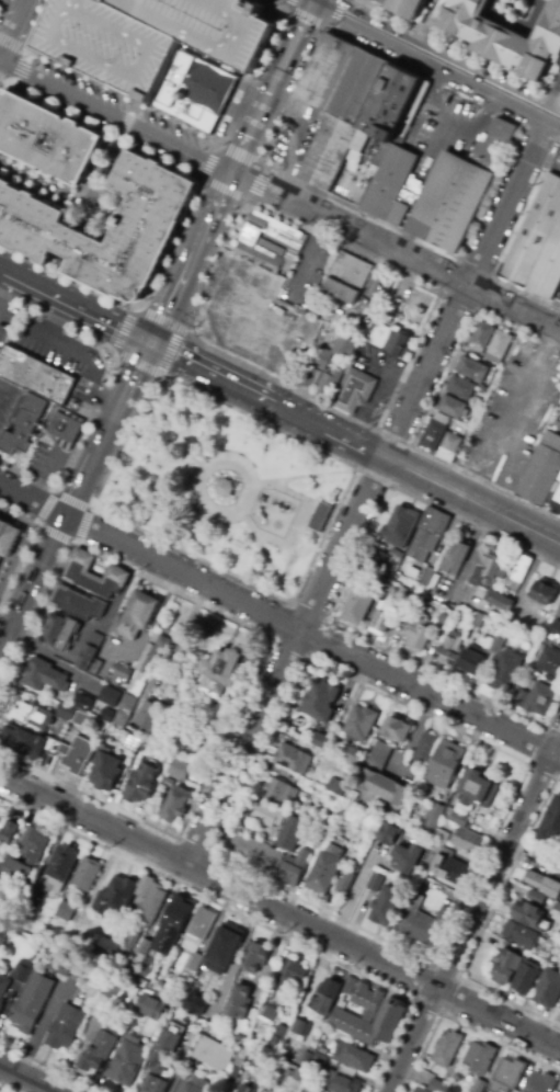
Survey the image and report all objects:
road: (0, 0)
traffic signals: (315, 0)
building: (380, 0)
building: (410, 7)
parking lot: (106, 14)
road: (315, 23)
road: (36, 24)
road: (13, 30)
building: (148, 35)
building: (510, 36)
road: (25, 50)
road: (431, 59)
road: (18, 60)
building: (169, 66)
building: (204, 81)
road: (272, 86)
road: (552, 100)
building: (350, 103)
road: (114, 116)
road: (126, 118)
parking lot: (444, 120)
road: (555, 121)
road: (515, 123)
road: (202, 134)
building: (46, 138)
building: (284, 146)
road: (217, 148)
road: (105, 163)
road: (39, 182)
building: (436, 187)
road: (186, 209)
building: (528, 226)
road: (103, 230)
building: (39, 231)
building: (268, 243)
road: (395, 251)
building: (544, 255)
road: (188, 257)
parking lot: (301, 271)
building: (345, 277)
road: (438, 292)
road: (75, 304)
parking lot: (340, 304)
road: (161, 320)
road: (124, 331)
building: (471, 331)
building: (379, 333)
building: (480, 337)
building: (491, 340)
traffic signals: (150, 341)
building: (345, 344)
road: (170, 352)
building: (321, 359)
building: (462, 363)
road: (137, 365)
building: (492, 372)
building: (37, 374)
building: (308, 376)
parking lot: (373, 379)
building: (345, 382)
building: (453, 383)
road: (102, 394)
building: (442, 402)
road: (182, 418)
building: (25, 425)
building: (66, 426)
building: (462, 428)
road: (107, 429)
building: (423, 432)
building: (433, 432)
road: (354, 442)
building: (441, 442)
building: (448, 446)
road: (239, 462)
building: (536, 468)
road: (302, 477)
building: (222, 487)
park: (224, 488)
road: (367, 490)
building: (556, 492)
road: (139, 498)
road: (32, 499)
road: (72, 501)
building: (319, 516)
building: (392, 522)
building: (428, 534)
road: (55, 535)
building: (9, 536)
road: (28, 542)
building: (393, 554)
road: (264, 556)
building: (455, 558)
building: (385, 562)
building: (487, 573)
building: (518, 575)
building: (94, 576)
building: (428, 578)
road: (32, 582)
building: (390, 584)
building: (546, 590)
road: (283, 600)
building: (500, 601)
building: (79, 602)
building: (358, 606)
building: (475, 607)
building: (135, 614)
building: (405, 616)
building: (548, 616)
building: (382, 618)
building: (90, 621)
building: (443, 622)
building: (482, 622)
building: (493, 626)
building: (555, 632)
building: (60, 633)
road: (312, 634)
building: (419, 634)
building: (449, 647)
building: (540, 647)
road: (266, 650)
building: (90, 651)
building: (150, 658)
building: (471, 661)
building: (549, 661)
building: (505, 663)
building: (95, 668)
building: (537, 671)
building: (222, 673)
building: (121, 674)
building: (181, 676)
building: (45, 678)
building: (110, 697)
building: (319, 699)
building: (537, 699)
building: (126, 708)
building: (30, 713)
building: (106, 713)
building: (80, 714)
building: (150, 714)
building: (358, 721)
building: (395, 728)
building: (320, 740)
building: (26, 741)
building: (134, 744)
building: (144, 746)
building: (424, 746)
building: (351, 754)
building: (77, 755)
building: (156, 757)
building: (289, 758)
building: (137, 760)
building: (447, 764)
building: (179, 769)
building: (105, 770)
building: (381, 776)
building: (309, 778)
building: (168, 783)
building: (141, 784)
building: (340, 788)
building: (477, 790)
building: (281, 794)
building: (178, 805)
building: (267, 815)
building: (452, 816)
building: (434, 819)
building: (469, 824)
building: (550, 824)
building: (8, 832)
building: (311, 832)
building: (292, 833)
building: (390, 833)
building: (321, 837)
building: (439, 838)
building: (467, 841)
building: (255, 852)
building: (32, 856)
building: (409, 857)
building: (546, 858)
building: (0, 865)
building: (447, 865)
building: (60, 866)
building: (294, 868)
building: (324, 871)
building: (87, 875)
building: (344, 883)
building: (377, 883)
building: (544, 885)
building: (144, 886)
building: (116, 896)
building: (536, 898)
building: (386, 905)
building: (151, 906)
building: (30, 909)
road: (279, 910)
building: (65, 911)
building: (10, 912)
road: (473, 913)
building: (527, 914)
road: (252, 921)
building: (423, 923)
road: (483, 924)
building: (173, 925)
building: (3, 935)
building: (197, 935)
building: (519, 935)
building: (130, 937)
building: (145, 946)
building: (106, 948)
building: (221, 948)
building: (255, 957)
building: (71, 968)
building: (506, 968)
building: (21, 971)
building: (293, 974)
building: (526, 977)
building: (348, 986)
building: (3, 988)
building: (548, 990)
building: (113, 997)
building: (169, 997)
building: (323, 999)
building: (32, 1002)
building: (150, 1002)
building: (239, 1002)
building: (194, 1003)
building: (302, 1004)
building: (266, 1014)
building: (368, 1016)
building: (185, 1023)
road: (461, 1024)
building: (65, 1027)
building: (290, 1033)
building: (252, 1037)
building: (447, 1048)
building: (98, 1051)
building: (306, 1057)
building: (353, 1057)
building: (480, 1058)
building: (219, 1059)
building: (161, 1061)
building: (319, 1062)
building: (127, 1063)
road: (47, 1068)
building: (288, 1072)
building: (299, 1074)
building: (507, 1076)
road: (25, 1079)
building: (342, 1083)
building: (541, 1083)
building: (196, 1085)
building: (479, 1085)
building: (438, 1087)
building: (310, 1088)
building: (245, 1089)
road: (2, 1090)
building: (420, 1090)
building: (559, 1090)

